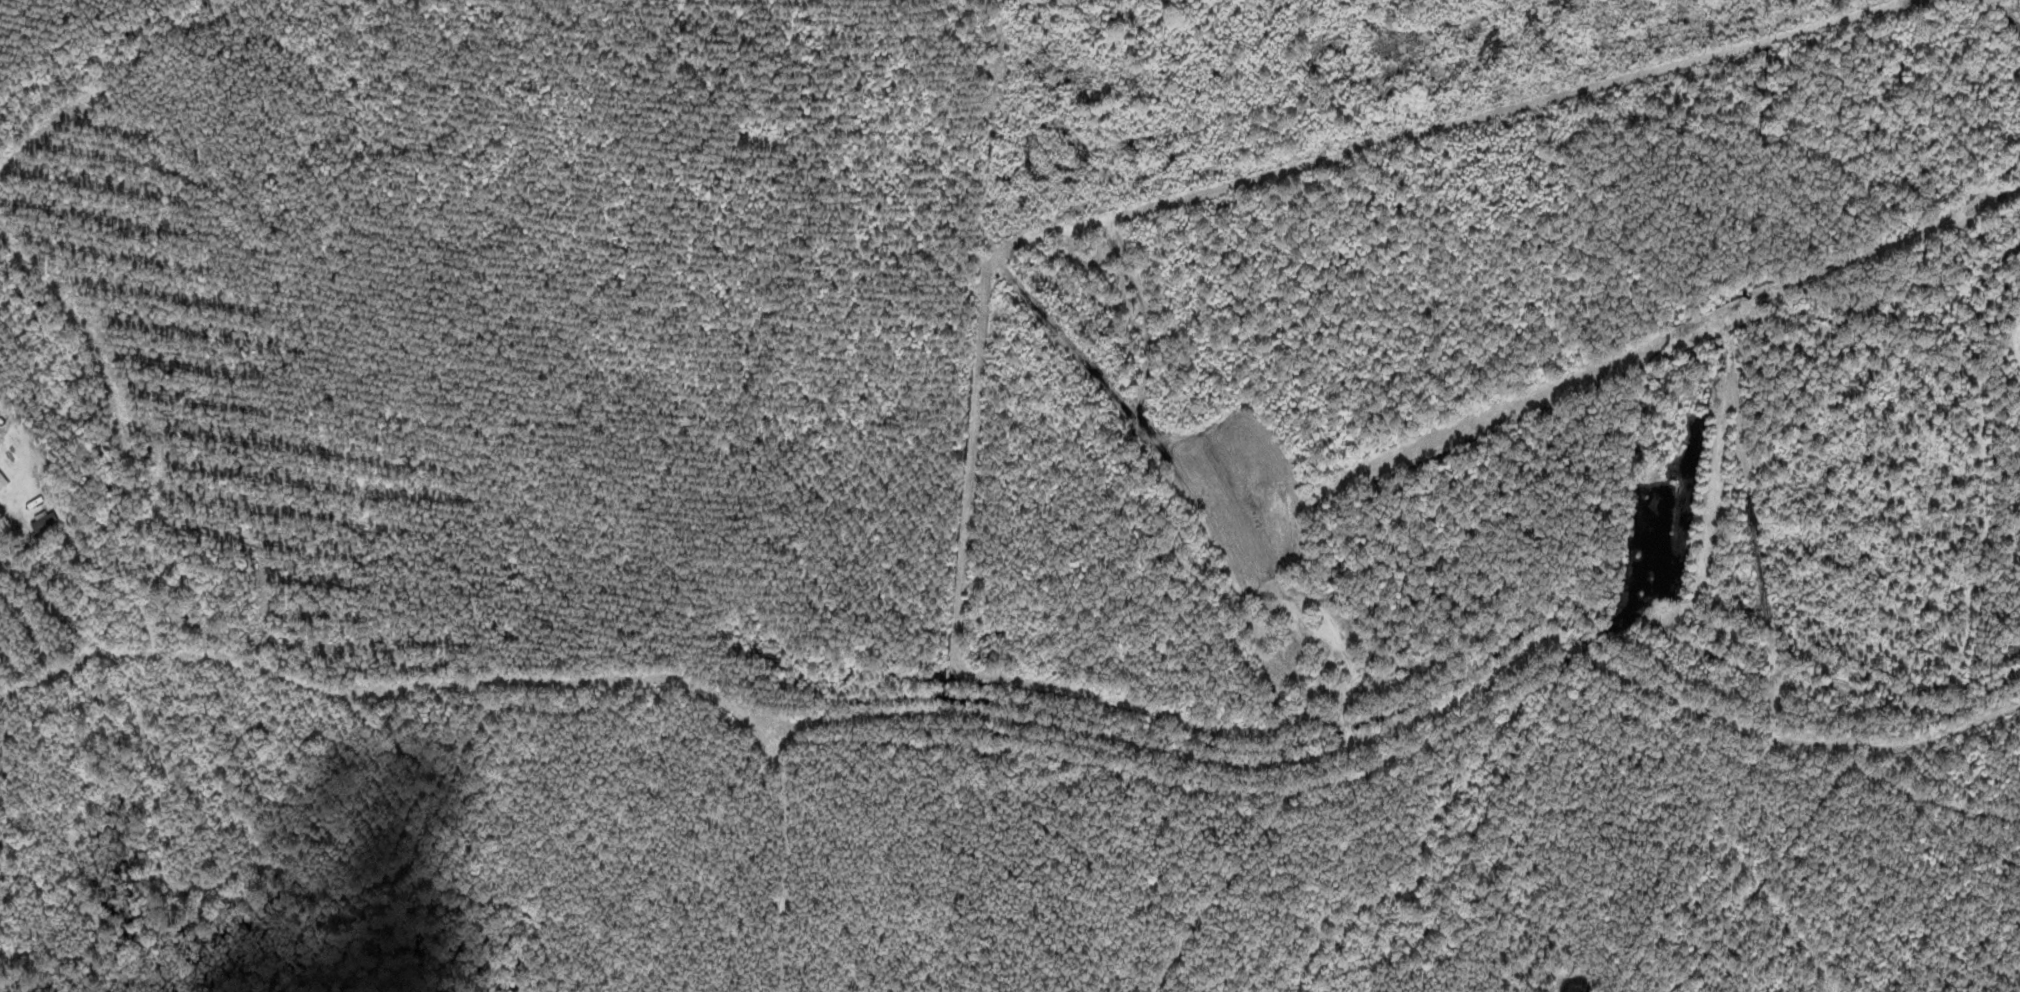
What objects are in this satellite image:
building: (43, 524)

